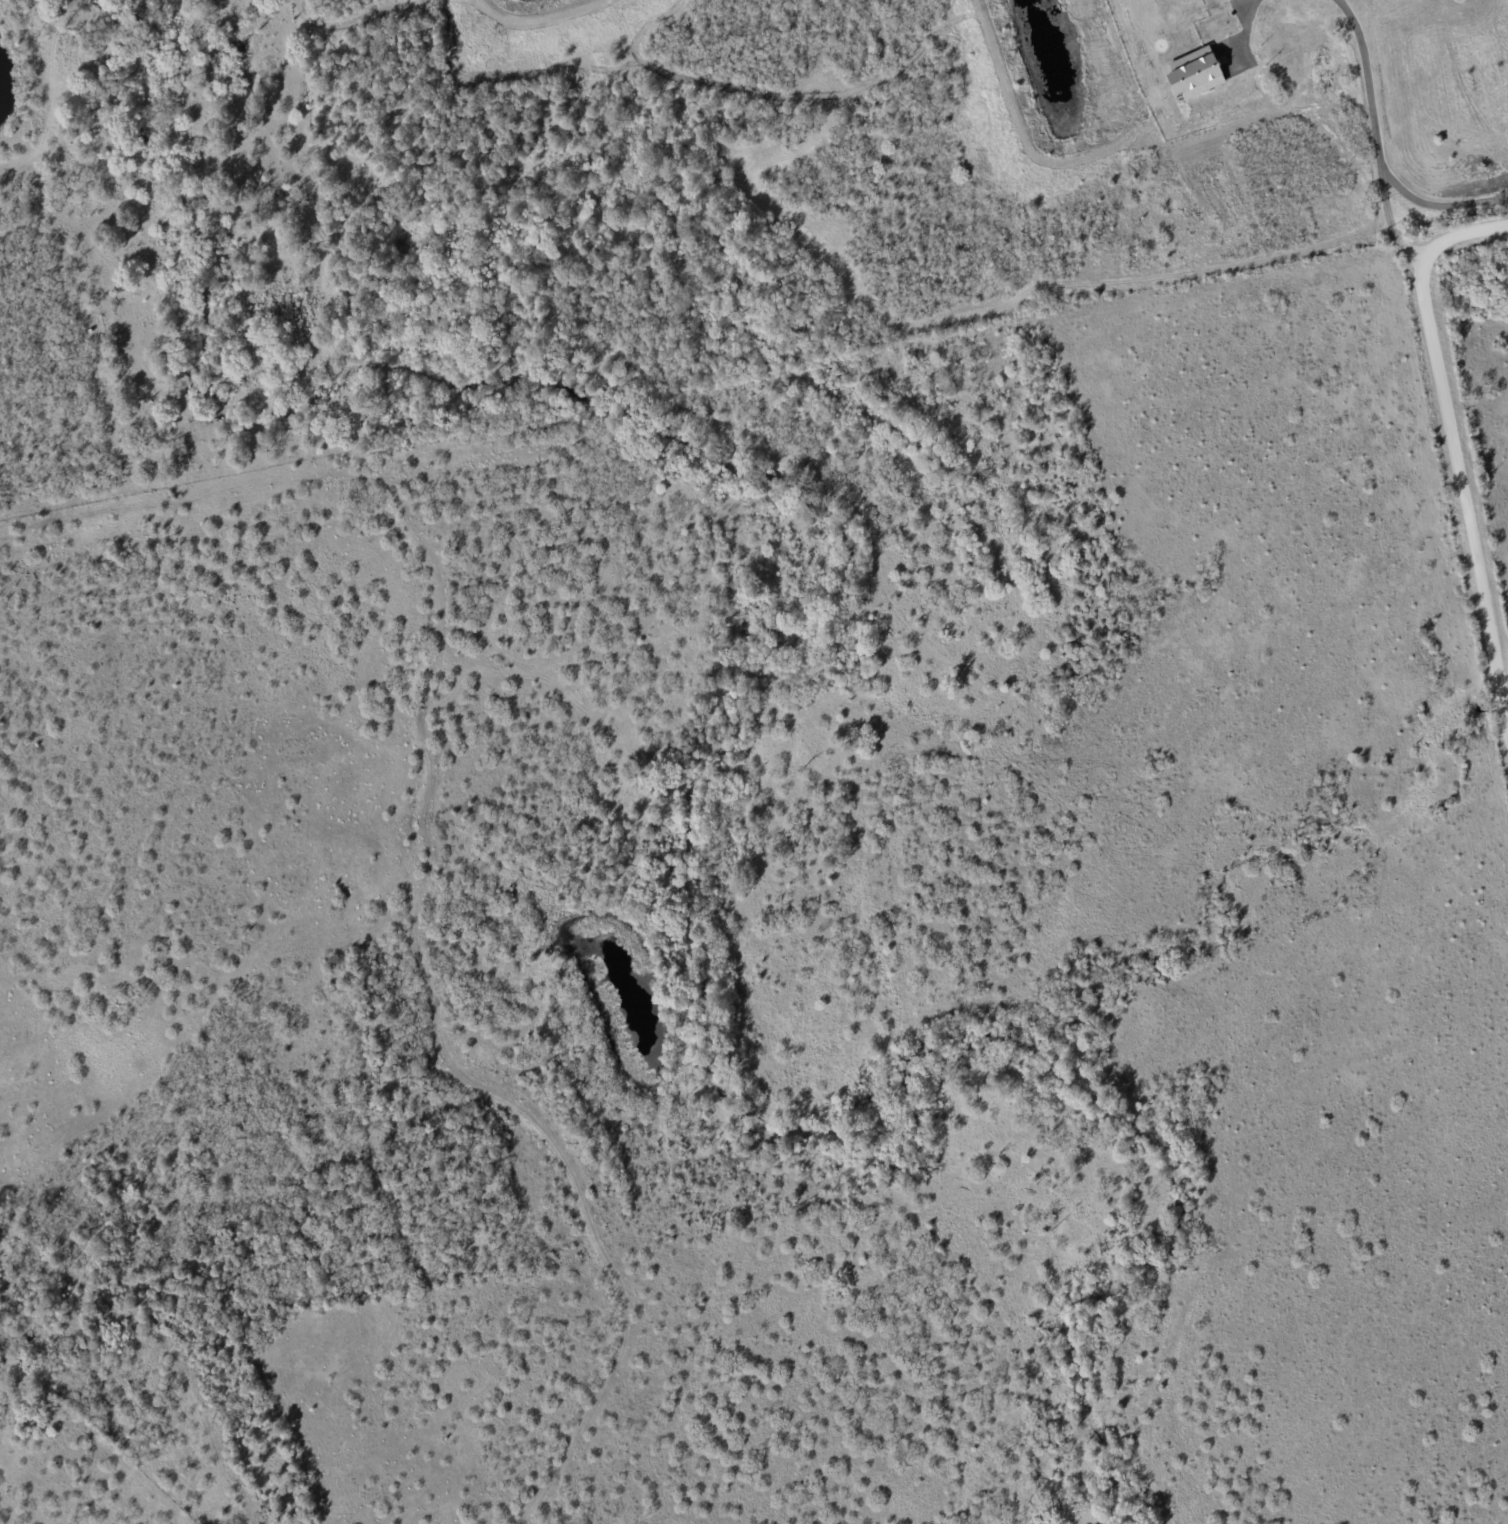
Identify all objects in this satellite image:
building: (1198, 74)
road: (1374, 133)
road: (1453, 450)

